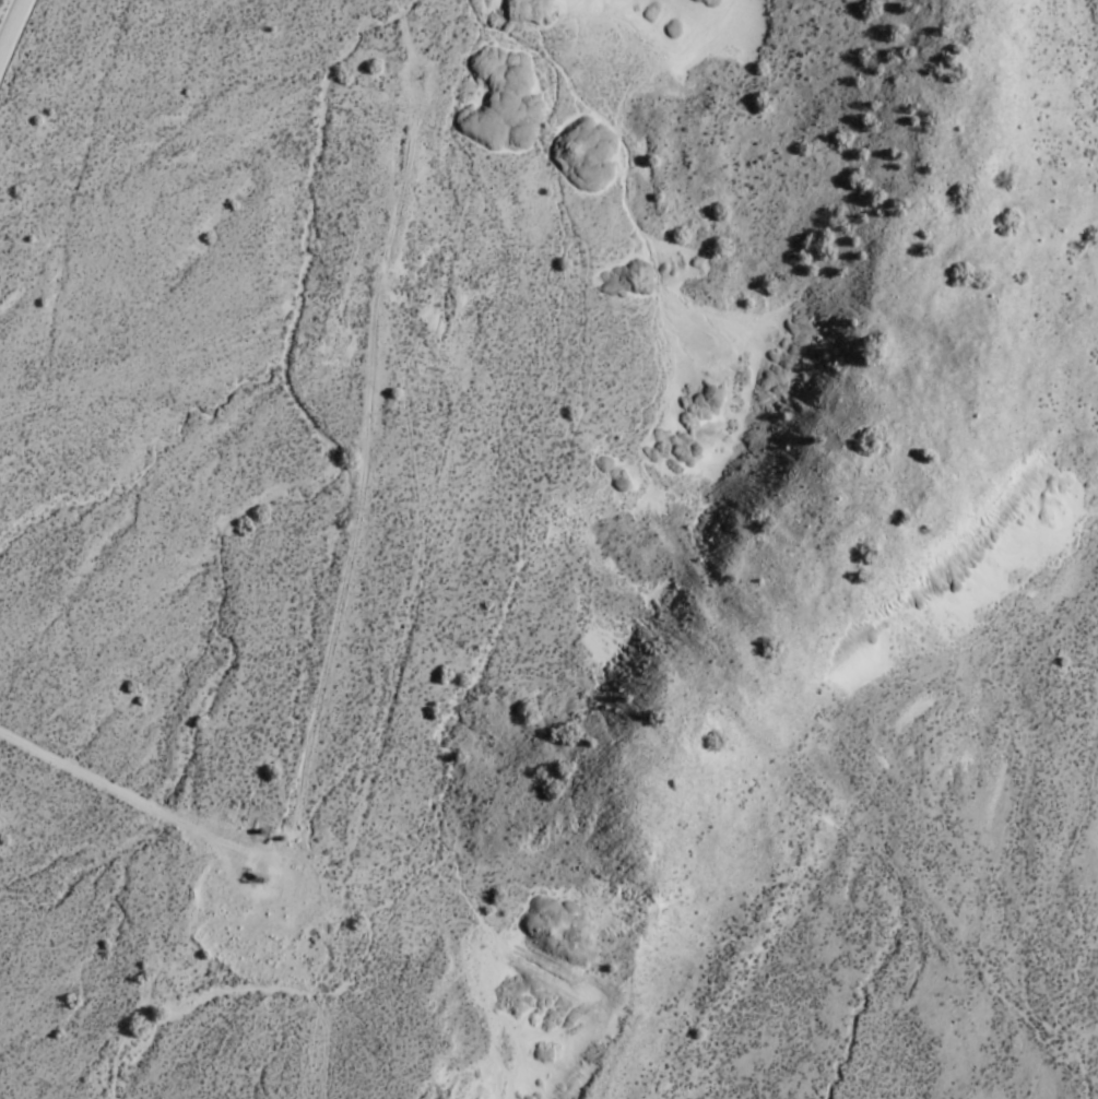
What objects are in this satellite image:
road: (11, 23)
road: (482, 184)
road: (439, 728)

